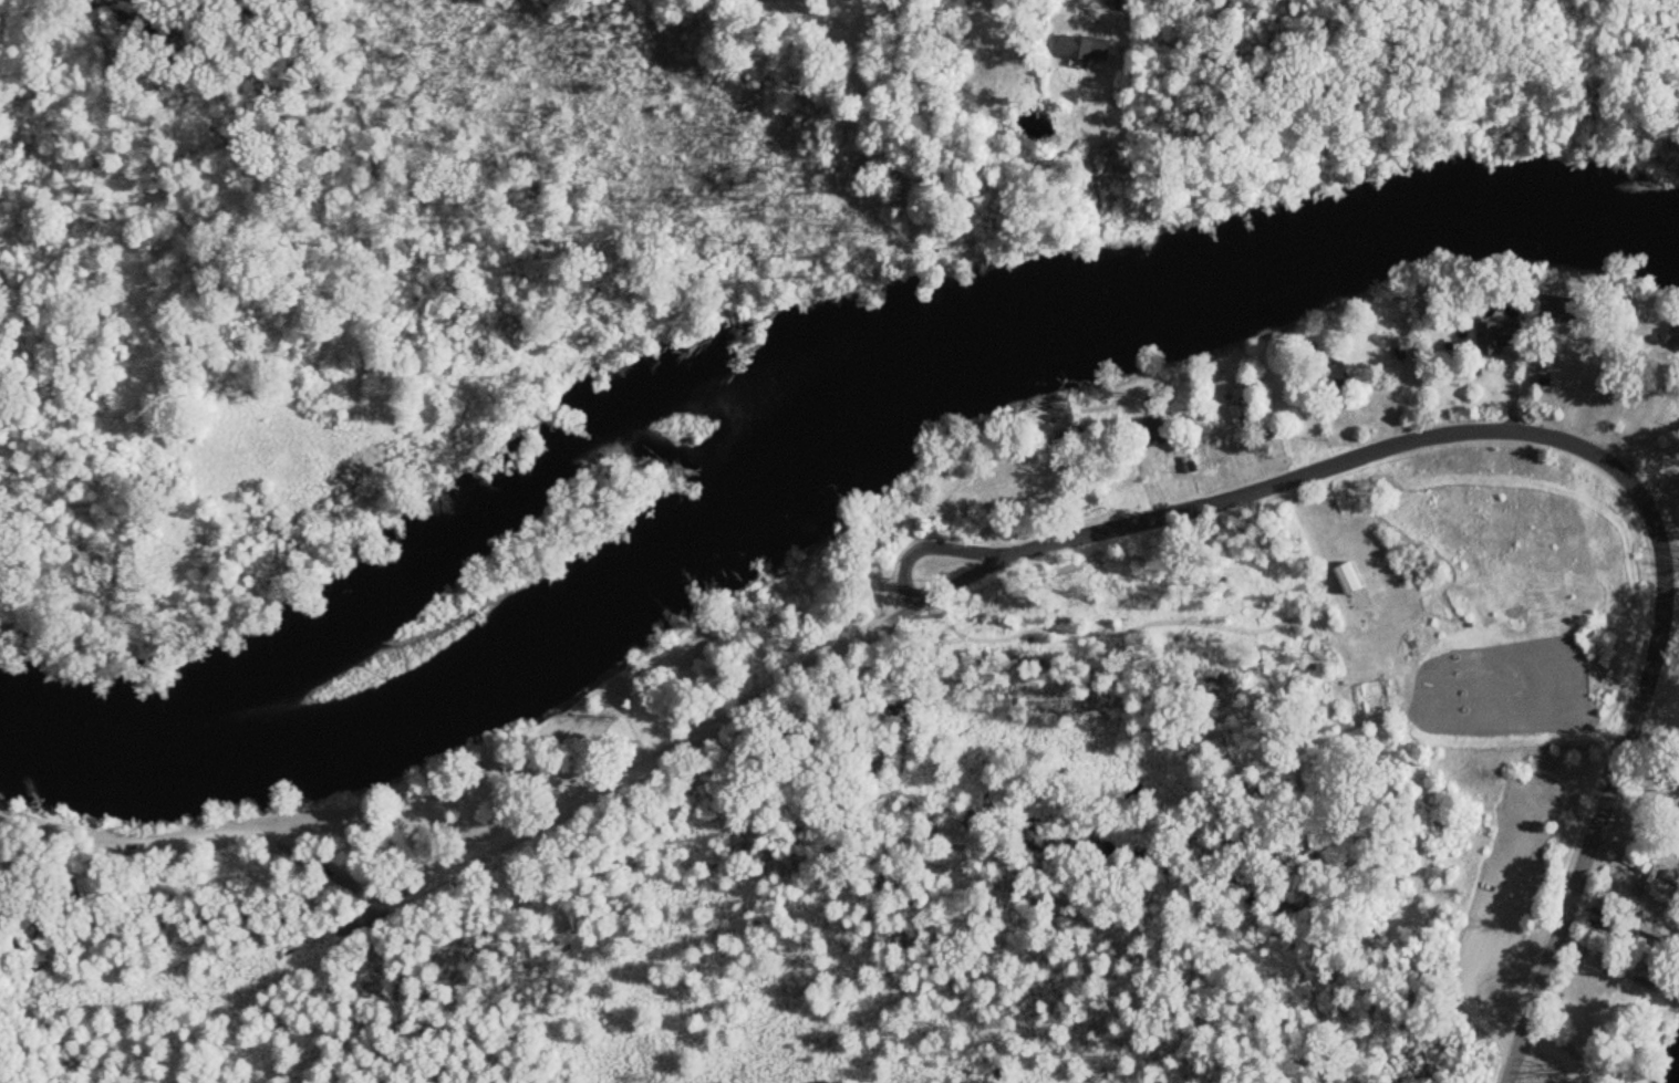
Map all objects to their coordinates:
road: (1103, 14)
building: (1080, 49)
building: (1493, 336)
building: (1333, 376)
building: (1230, 403)
river: (818, 444)
road: (1108, 528)
building: (1344, 580)
building: (1649, 931)
building: (1645, 976)
road: (1553, 1052)

